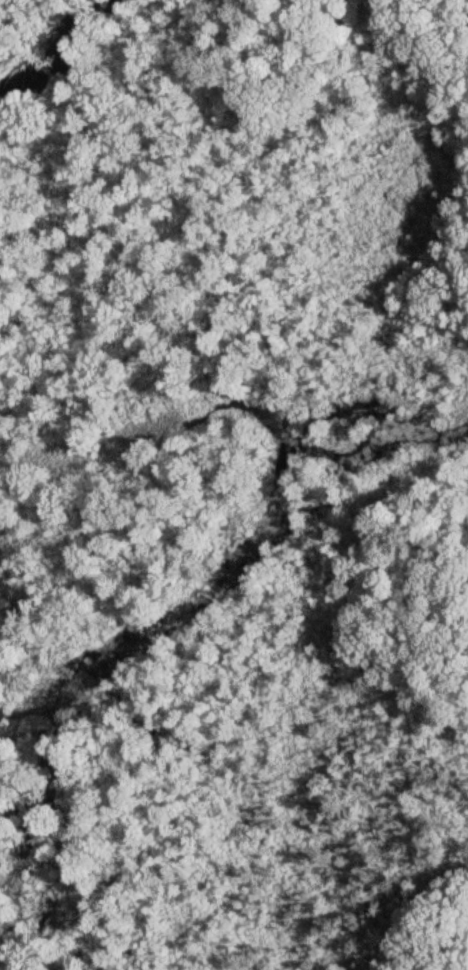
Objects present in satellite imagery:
river: (42, 48)

